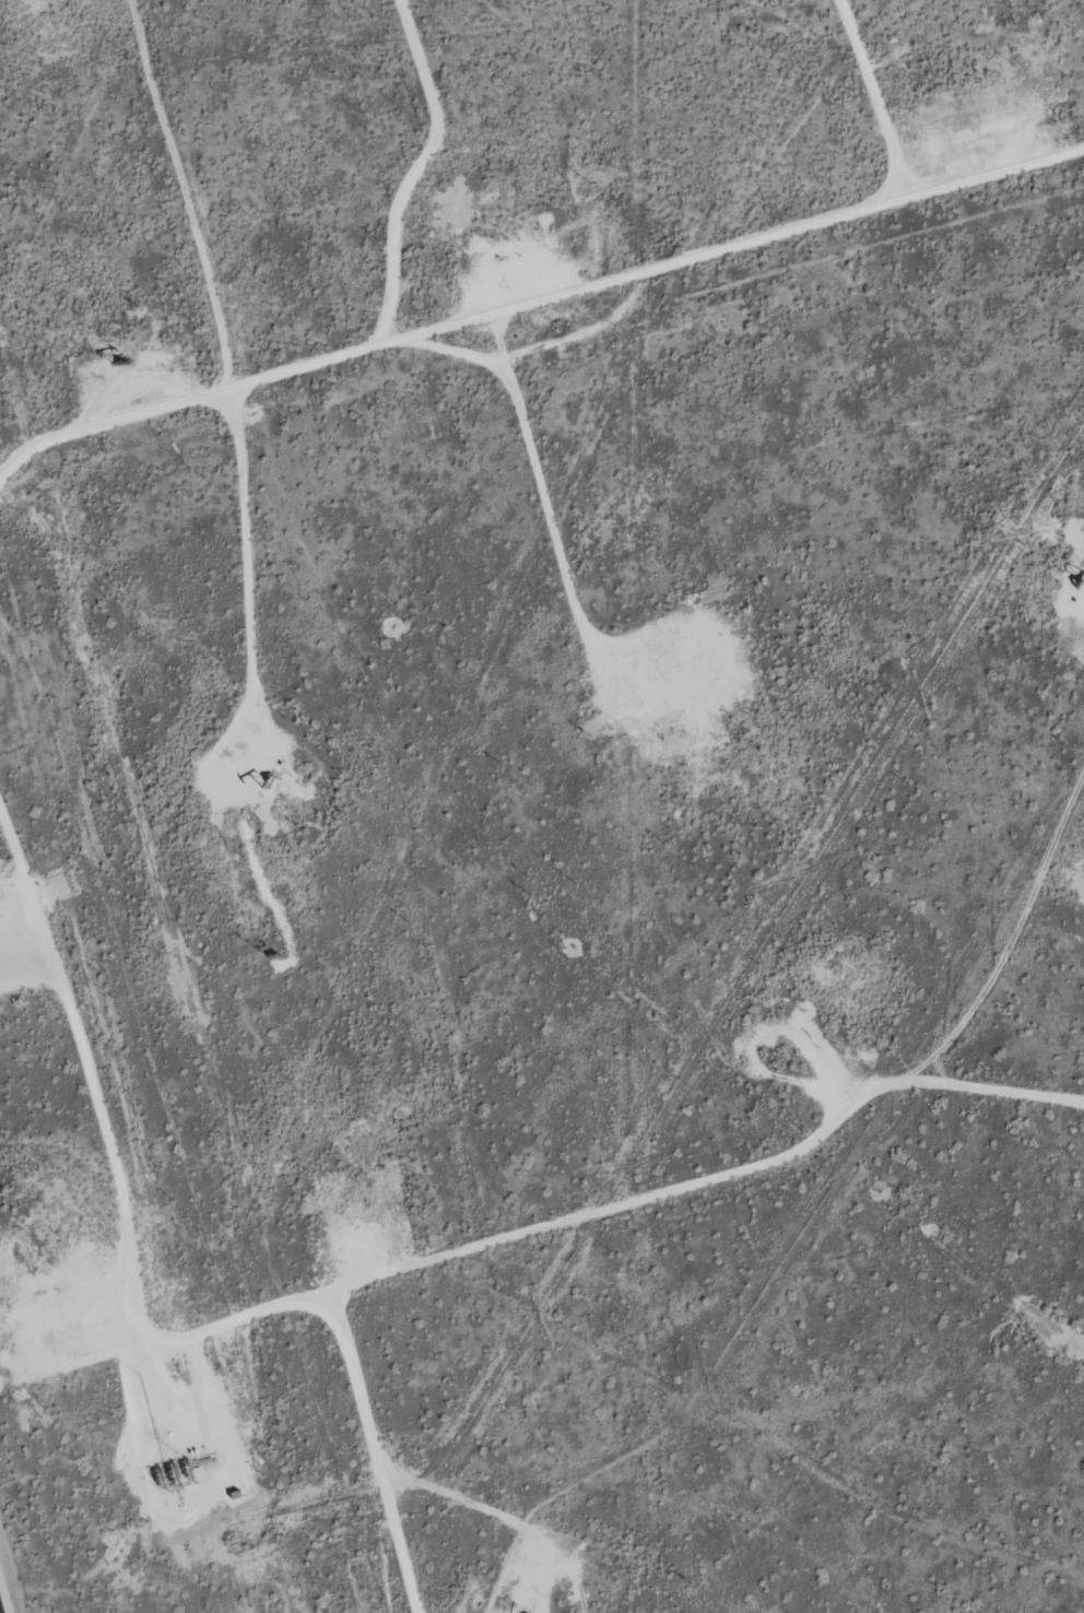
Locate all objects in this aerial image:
road: (545, 345)
road: (169, 1341)
road: (381, 1453)

